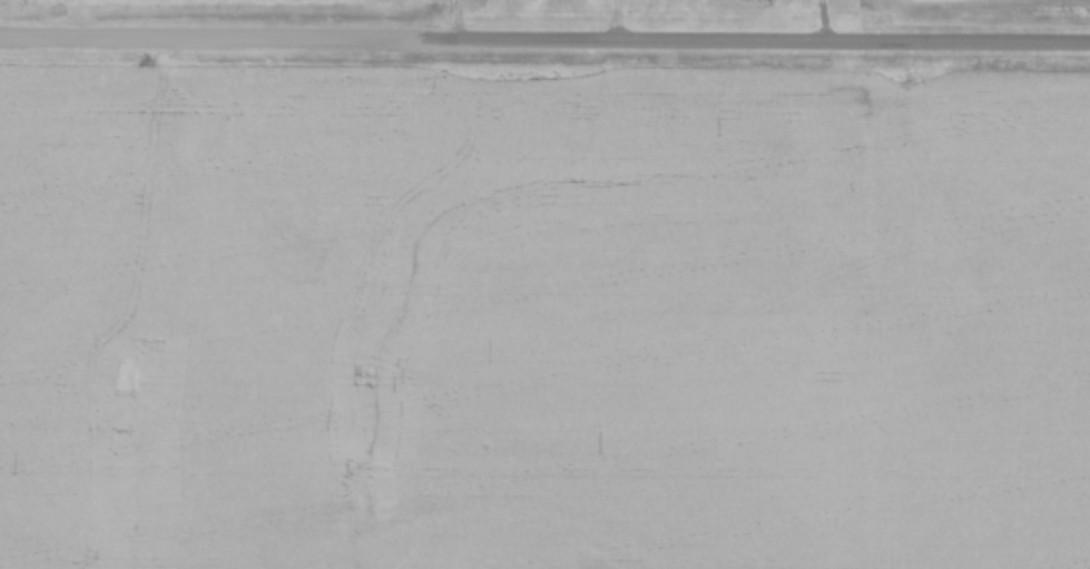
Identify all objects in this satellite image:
park: (656, 10)
road: (617, 17)
road: (826, 17)
road: (459, 18)
road: (753, 33)
road: (208, 37)

